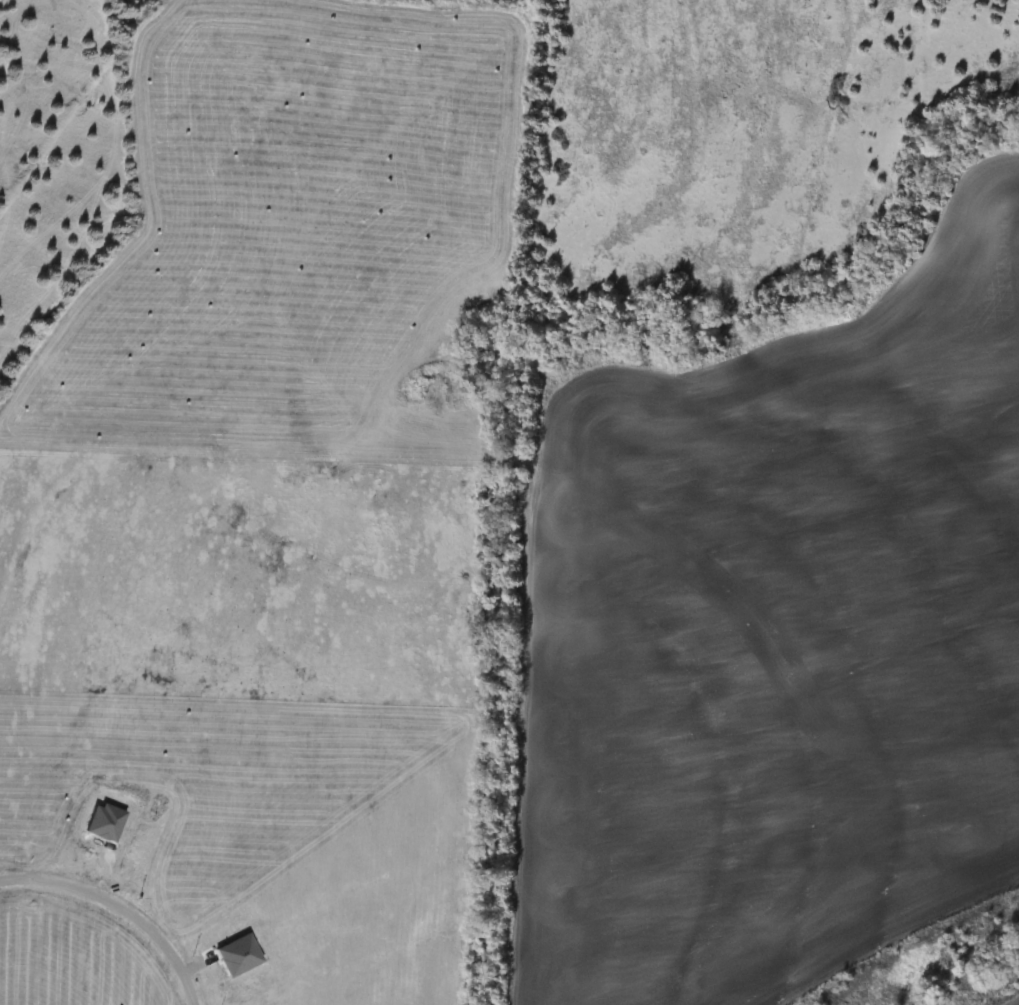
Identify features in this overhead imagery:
road: (122, 906)

